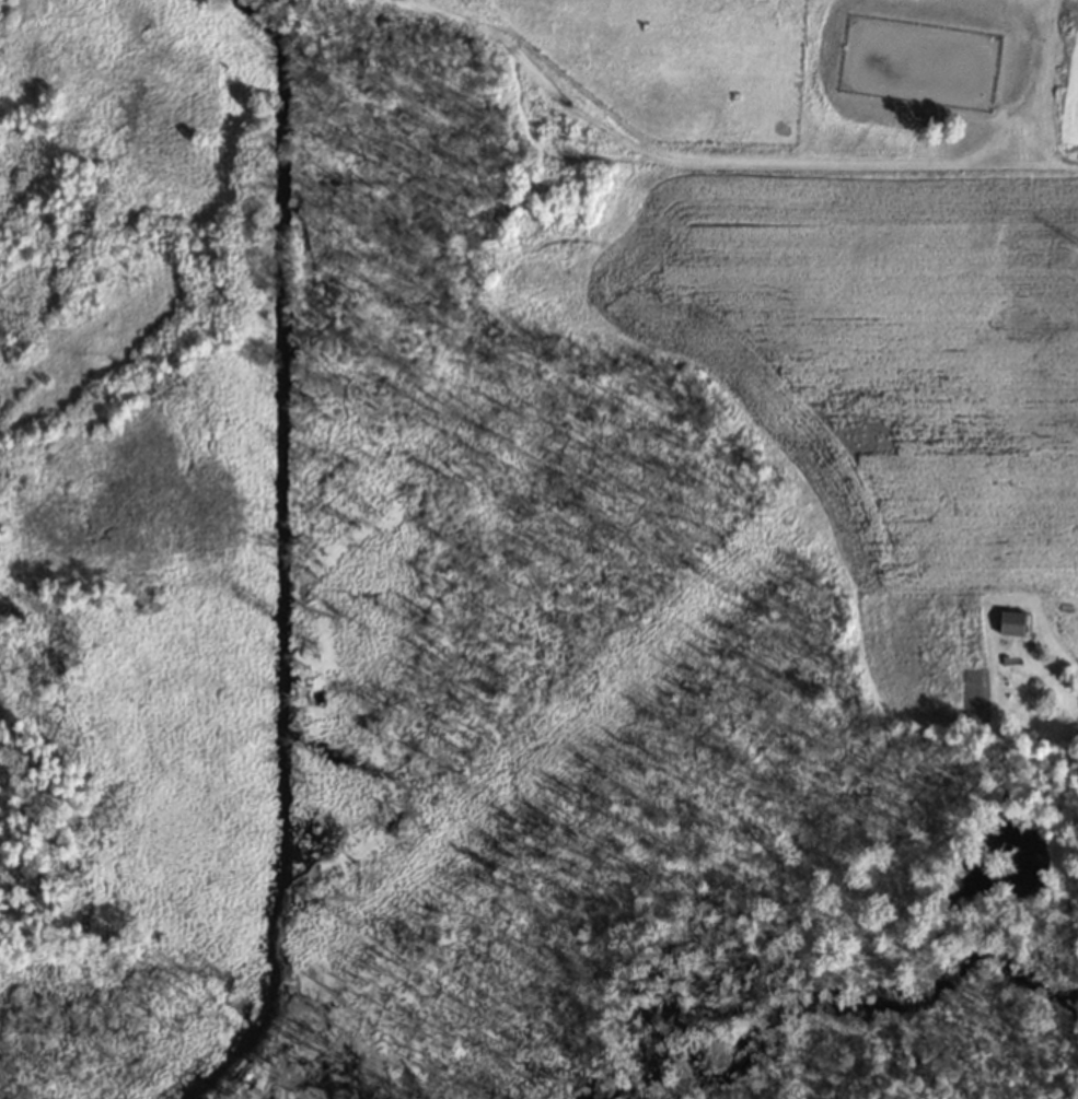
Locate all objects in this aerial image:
building: (1008, 622)

